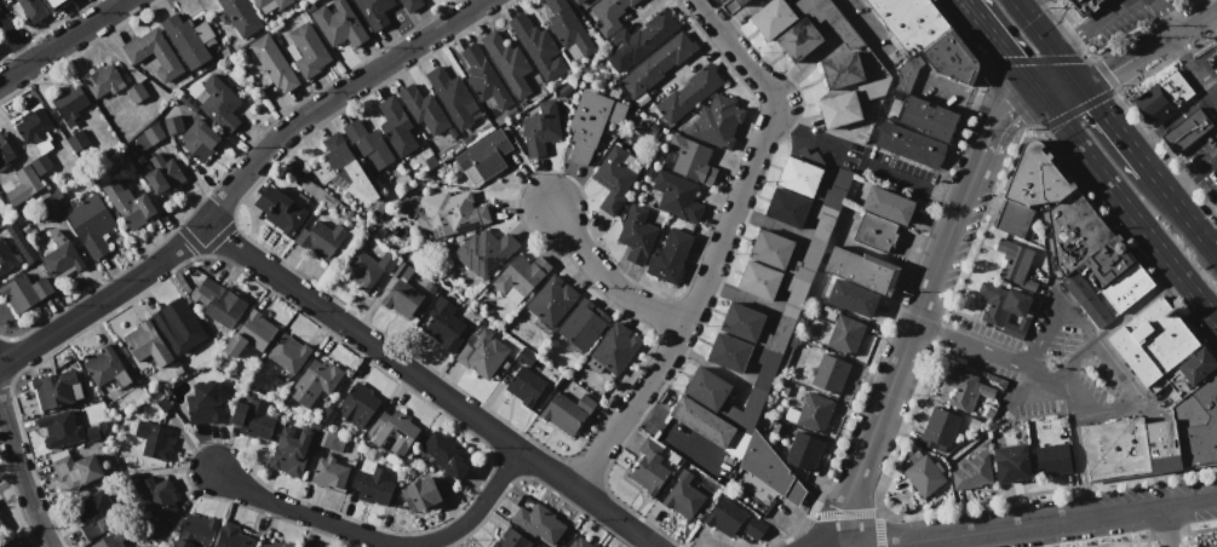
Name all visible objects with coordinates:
road: (1016, 0)
building: (575, 1)
road: (1127, 1)
building: (739, 2)
road: (1154, 2)
building: (58, 4)
building: (270, 5)
building: (411, 5)
building: (805, 5)
building: (1084, 6)
building: (373, 7)
building: (33, 11)
building: (609, 13)
building: (241, 16)
road: (1102, 16)
building: (771, 19)
road: (1165, 19)
building: (338, 23)
building: (909, 23)
road: (1193, 23)
road: (859, 25)
building: (568, 30)
road: (1060, 35)
building: (644, 36)
road: (16, 39)
building: (188, 39)
road: (63, 40)
building: (799, 40)
road: (993, 40)
road: (1049, 41)
building: (536, 47)
building: (309, 50)
road: (1179, 51)
building: (154, 53)
building: (952, 58)
road: (1034, 58)
road: (1125, 61)
building: (272, 63)
building: (510, 64)
building: (658, 64)
building: (842, 70)
building: (484, 79)
traffic signals: (1024, 80)
building: (103, 81)
road: (1052, 82)
traffic signals: (1081, 85)
road: (1202, 85)
building: (874, 90)
road: (1033, 91)
building: (137, 93)
building: (689, 93)
road: (1062, 93)
building: (452, 96)
road: (964, 96)
road: (1006, 98)
building: (1163, 98)
traffic signals: (1043, 102)
building: (69, 103)
building: (218, 103)
building: (423, 109)
building: (838, 109)
road: (1074, 109)
building: (510, 111)
road: (989, 113)
building: (929, 119)
building: (716, 121)
building: (591, 123)
building: (173, 125)
building: (396, 126)
road: (1006, 127)
road: (1114, 127)
building: (35, 128)
building: (540, 128)
building: (653, 128)
building: (1186, 131)
building: (452, 133)
road: (805, 136)
building: (149, 137)
building: (75, 138)
building: (200, 139)
building: (368, 144)
building: (911, 145)
building: (4, 149)
building: (483, 157)
building: (688, 160)
building: (430, 161)
building: (40, 163)
road: (1205, 166)
building: (344, 169)
building: (161, 173)
building: (799, 177)
building: (1035, 178)
road: (239, 179)
building: (613, 179)
building: (23, 185)
road: (920, 185)
road: (1181, 186)
building: (834, 190)
building: (1212, 195)
building: (677, 196)
building: (130, 205)
building: (51, 206)
building: (787, 207)
building: (281, 209)
road: (1129, 211)
road: (1182, 212)
building: (452, 214)
building: (882, 218)
building: (1012, 218)
building: (91, 225)
building: (11, 228)
building: (636, 235)
building: (322, 240)
road: (718, 243)
building: (814, 243)
building: (24, 247)
building: (771, 249)
building: (484, 252)
building: (668, 254)
building: (6, 257)
building: (62, 259)
building: (1015, 265)
building: (368, 267)
building: (862, 269)
building: (1119, 273)
building: (521, 277)
road: (610, 280)
building: (759, 281)
building: (24, 292)
building: (401, 292)
building: (794, 295)
building: (851, 298)
building: (1086, 299)
building: (551, 300)
building: (222, 303)
road: (1137, 306)
building: (1005, 309)
building: (173, 322)
building: (742, 322)
building: (443, 324)
building: (582, 324)
building: (844, 334)
building: (249, 335)
building: (777, 335)
building: (148, 344)
building: (178, 347)
building: (615, 349)
road: (991, 350)
building: (1161, 350)
building: (729, 352)
road: (907, 352)
building: (289, 353)
building: (481, 353)
road: (1106, 355)
road: (1075, 358)
parking lot: (1054, 363)
building: (765, 368)
building: (107, 369)
building: (828, 374)
building: (315, 382)
road: (426, 385)
building: (524, 386)
building: (53, 388)
building: (965, 388)
building: (712, 396)
building: (203, 403)
building: (358, 404)
building: (751, 409)
building: (567, 411)
building: (811, 413)
building: (253, 420)
building: (701, 421)
building: (771, 421)
building: (1198, 424)
building: (58, 428)
building: (777, 430)
building: (938, 430)
building: (90, 433)
building: (391, 433)
building: (154, 439)
building: (329, 441)
building: (1126, 447)
road: (1074, 448)
building: (293, 450)
building: (803, 451)
building: (444, 454)
building: (1052, 460)
building: (1011, 463)
building: (649, 467)
building: (76, 470)
building: (329, 473)
building: (971, 473)
road: (22, 476)
building: (924, 476)
building: (372, 484)
building: (421, 493)
building: (160, 496)
building: (683, 496)
building: (94, 513)
building: (724, 517)
building: (1, 522)
road: (1041, 522)
building: (538, 523)
road: (1166, 525)
building: (754, 528)
building: (196, 531)
building: (234, 537)
building: (113, 539)
road: (379, 540)
building: (510, 540)
building: (582, 542)
building: (275, 545)
building: (132, 546)
building: (136, 546)

